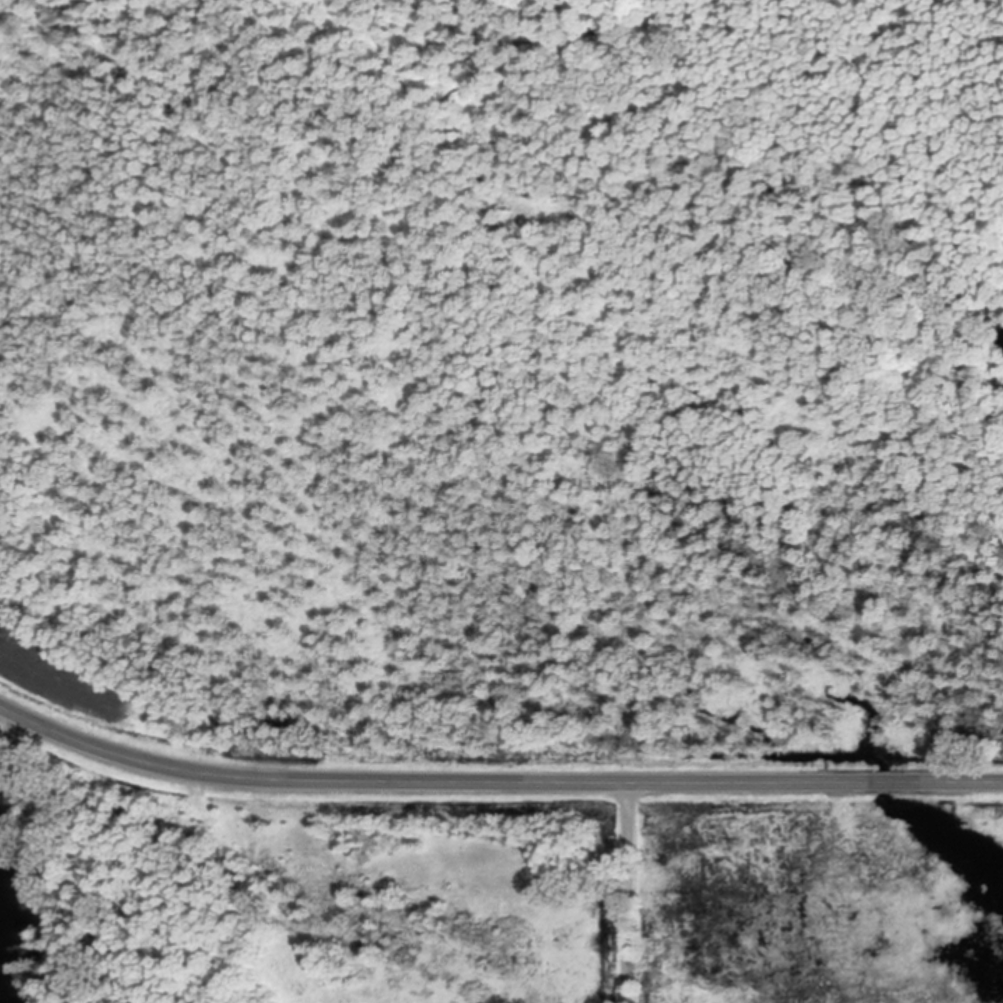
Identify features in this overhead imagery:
road: (11, 747)
road: (495, 780)
building: (6, 809)
road: (626, 892)

